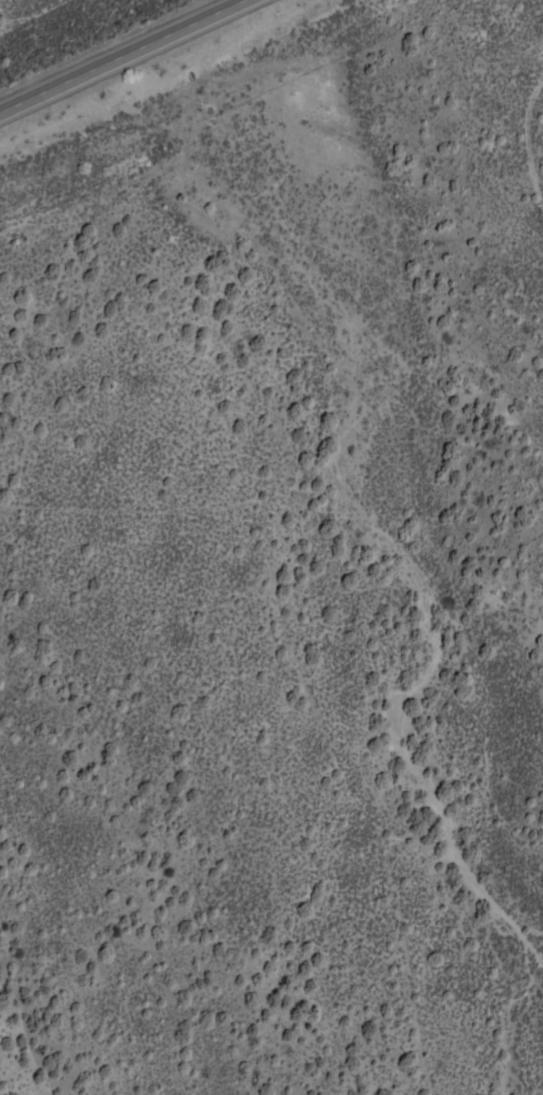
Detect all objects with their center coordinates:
road: (118, 54)

